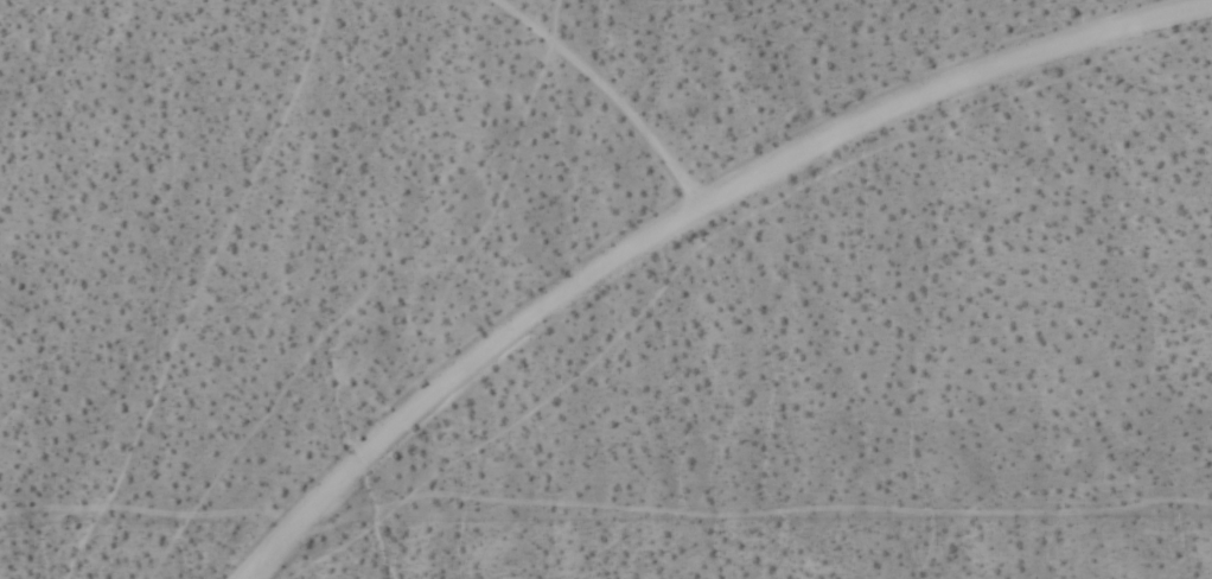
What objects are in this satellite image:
road: (601, 91)
road: (687, 218)
crop: (606, 289)

